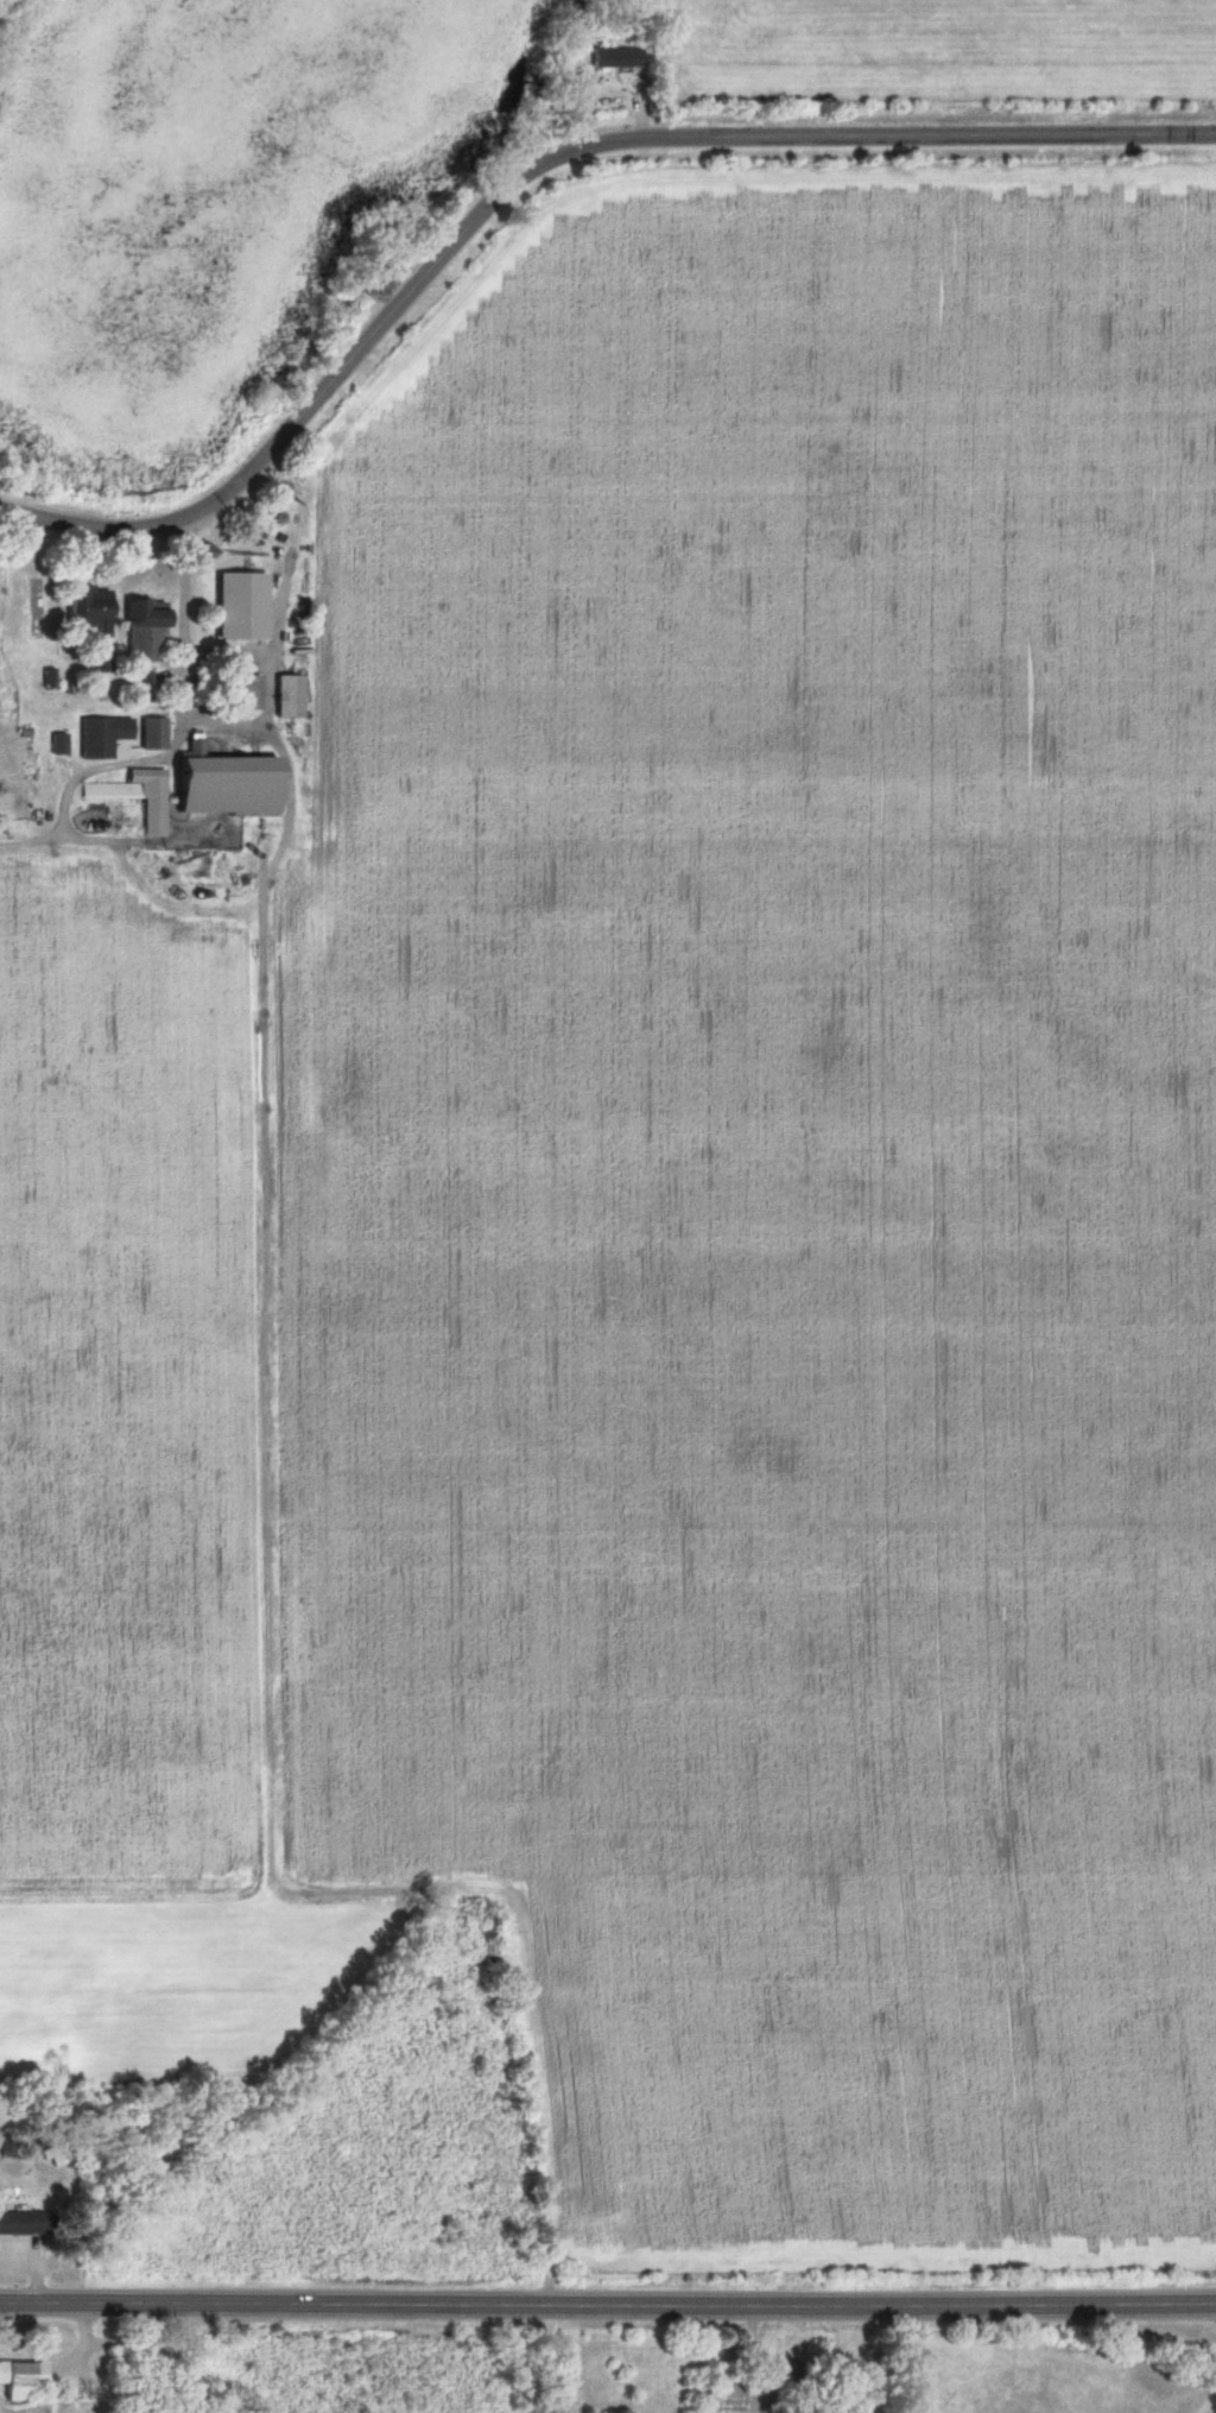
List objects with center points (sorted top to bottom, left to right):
building: (612, 59)
road: (531, 158)
building: (237, 606)
building: (85, 611)
road: (275, 621)
building: (140, 631)
building: (97, 663)
building: (246, 693)
building: (285, 696)
building: (150, 733)
building: (99, 737)
road: (172, 740)
building: (56, 744)
building: (220, 785)
building: (133, 797)
building: (53, 2155)
building: (23, 2223)
road: (607, 2297)
road: (151, 2355)
building: (19, 2380)
road: (1210, 2394)
building: (715, 2398)

